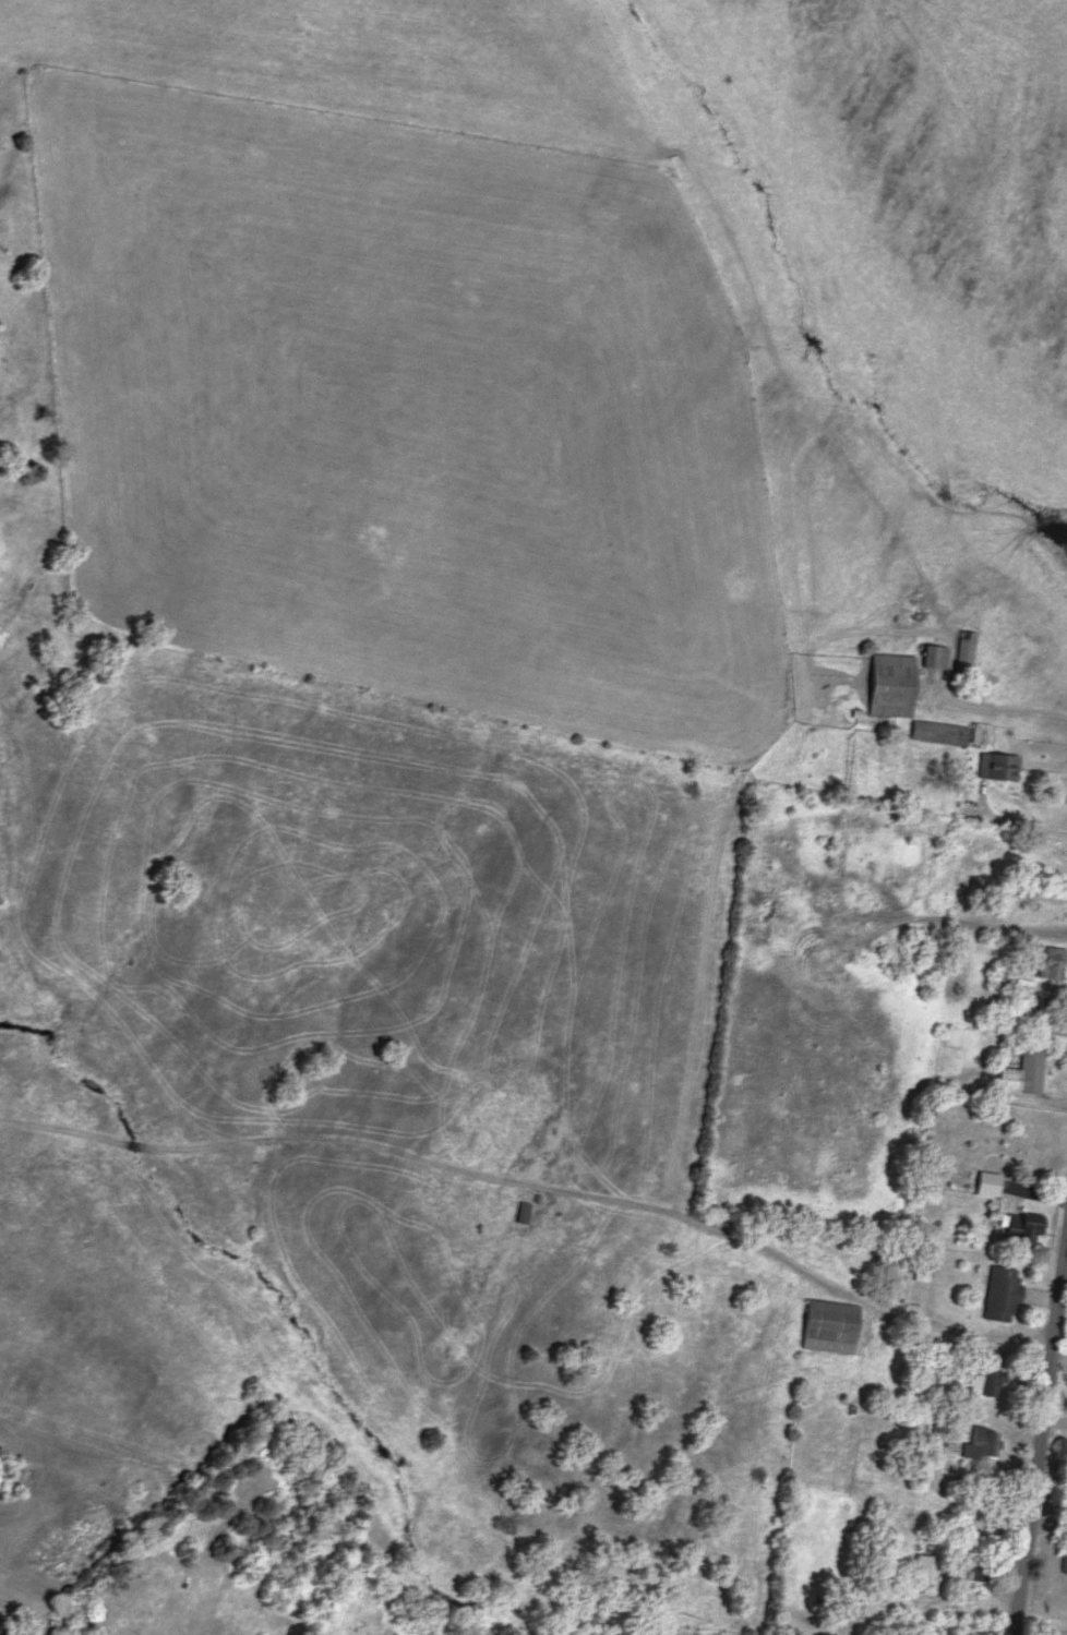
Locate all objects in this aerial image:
building: (968, 653)
building: (937, 659)
building: (906, 701)
building: (1003, 768)
building: (1057, 861)
building: (1054, 963)
building: (1024, 1071)
building: (988, 1183)
building: (526, 1213)
building: (1021, 1229)
building: (1003, 1295)
building: (831, 1326)
building: (986, 1382)
building: (983, 1444)
road: (1041, 1445)
building: (1065, 1562)
building: (926, 1570)
building: (974, 1570)

